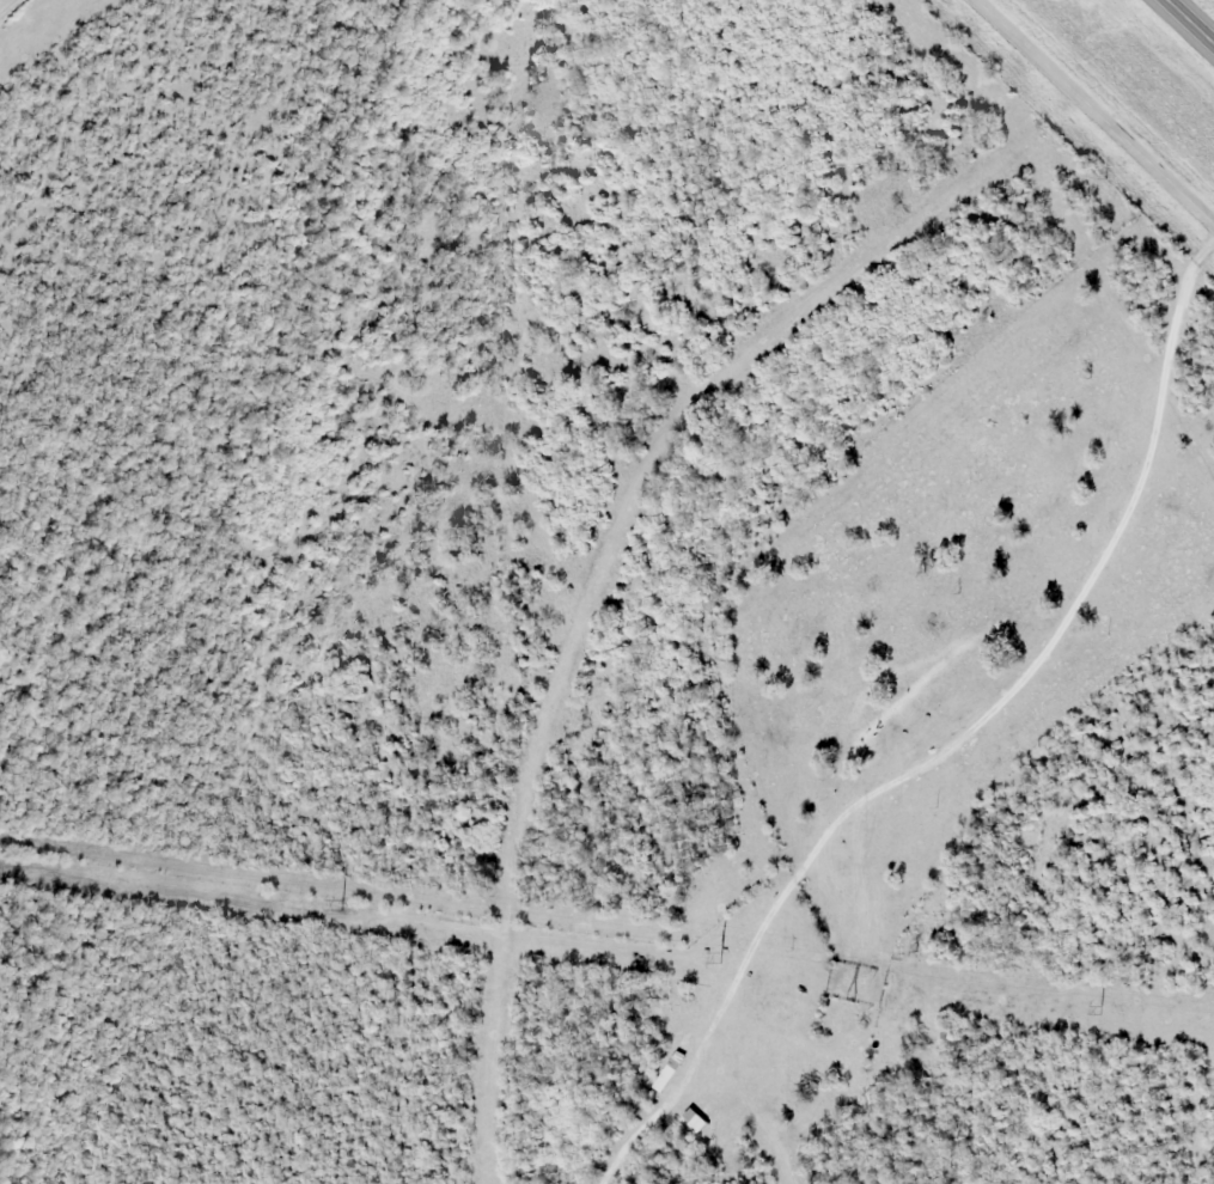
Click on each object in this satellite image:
road: (1190, 22)
road: (1096, 111)
power tower: (341, 903)
power tower: (718, 956)
power tower: (1093, 1005)
building: (661, 1078)

